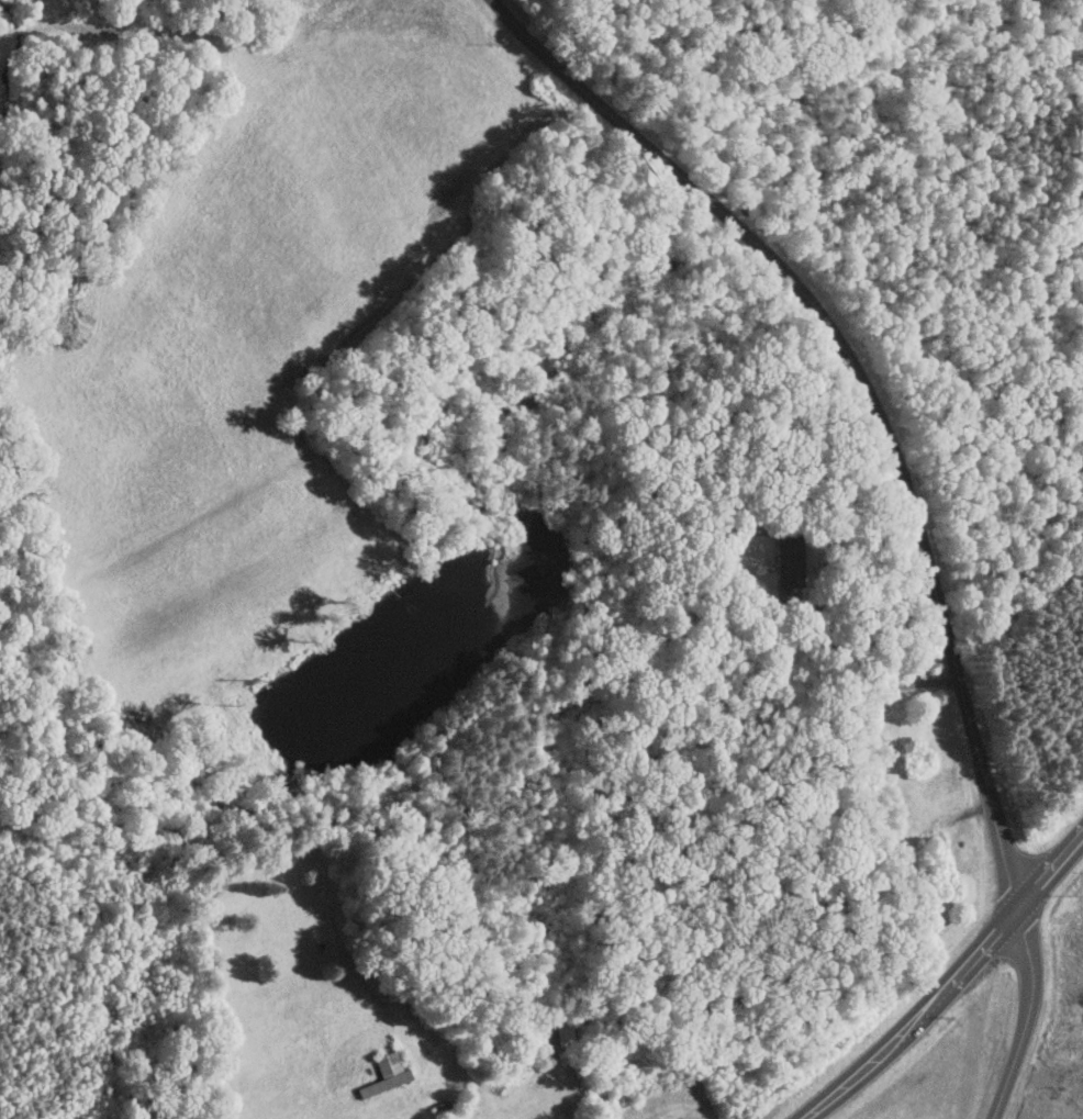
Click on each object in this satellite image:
road: (909, 491)
road: (873, 673)
road: (950, 983)
building: (383, 1074)

